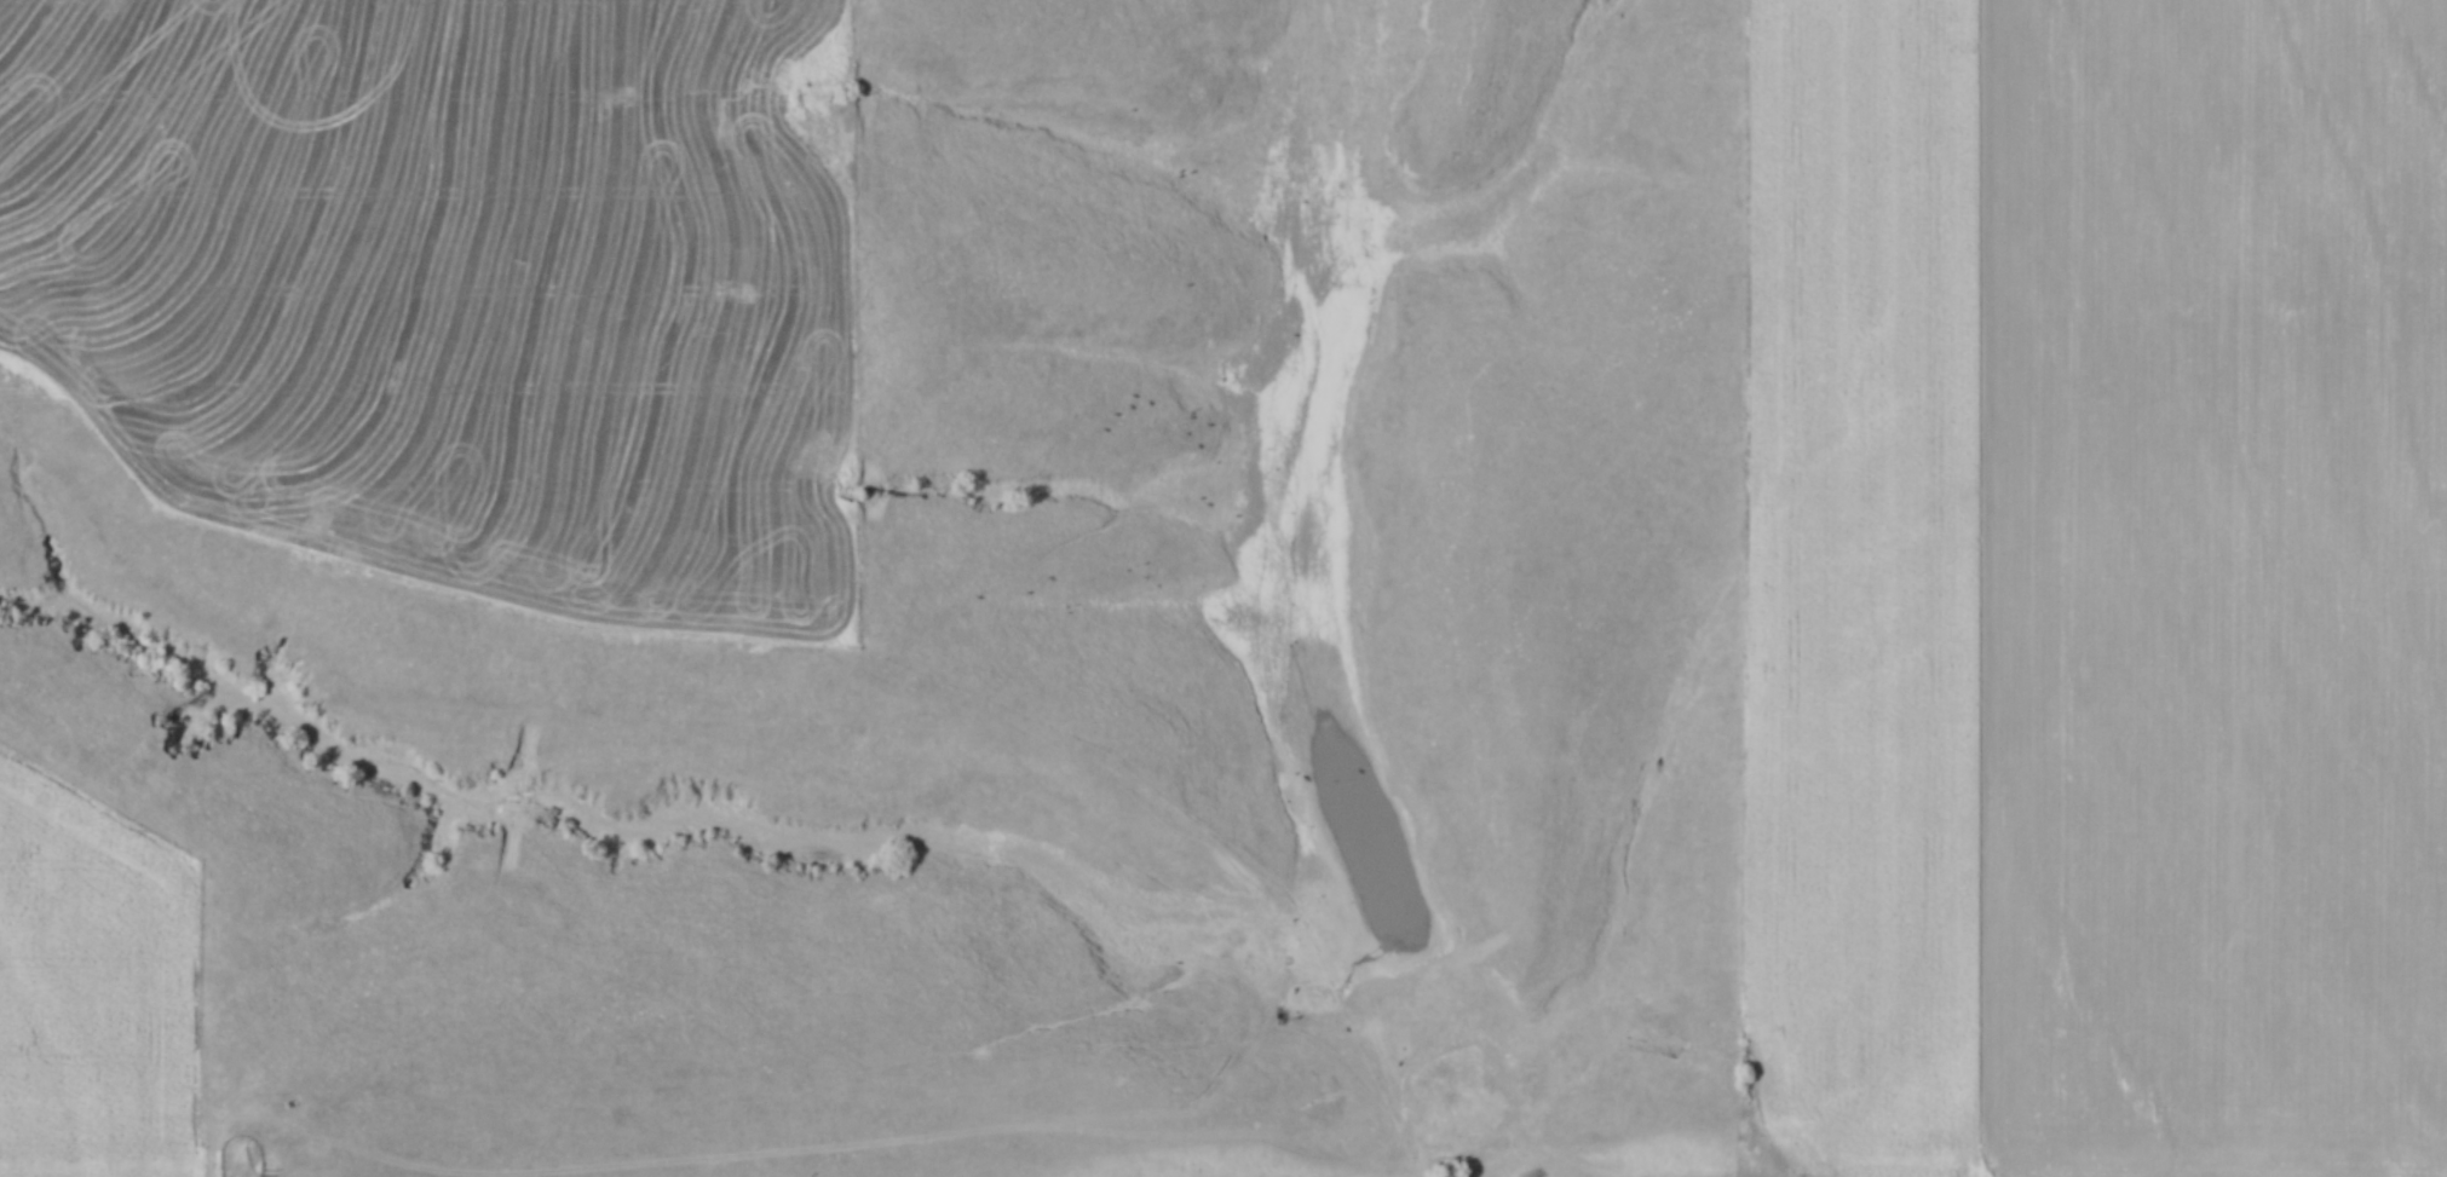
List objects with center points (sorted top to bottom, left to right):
crop: (2092, 581)

